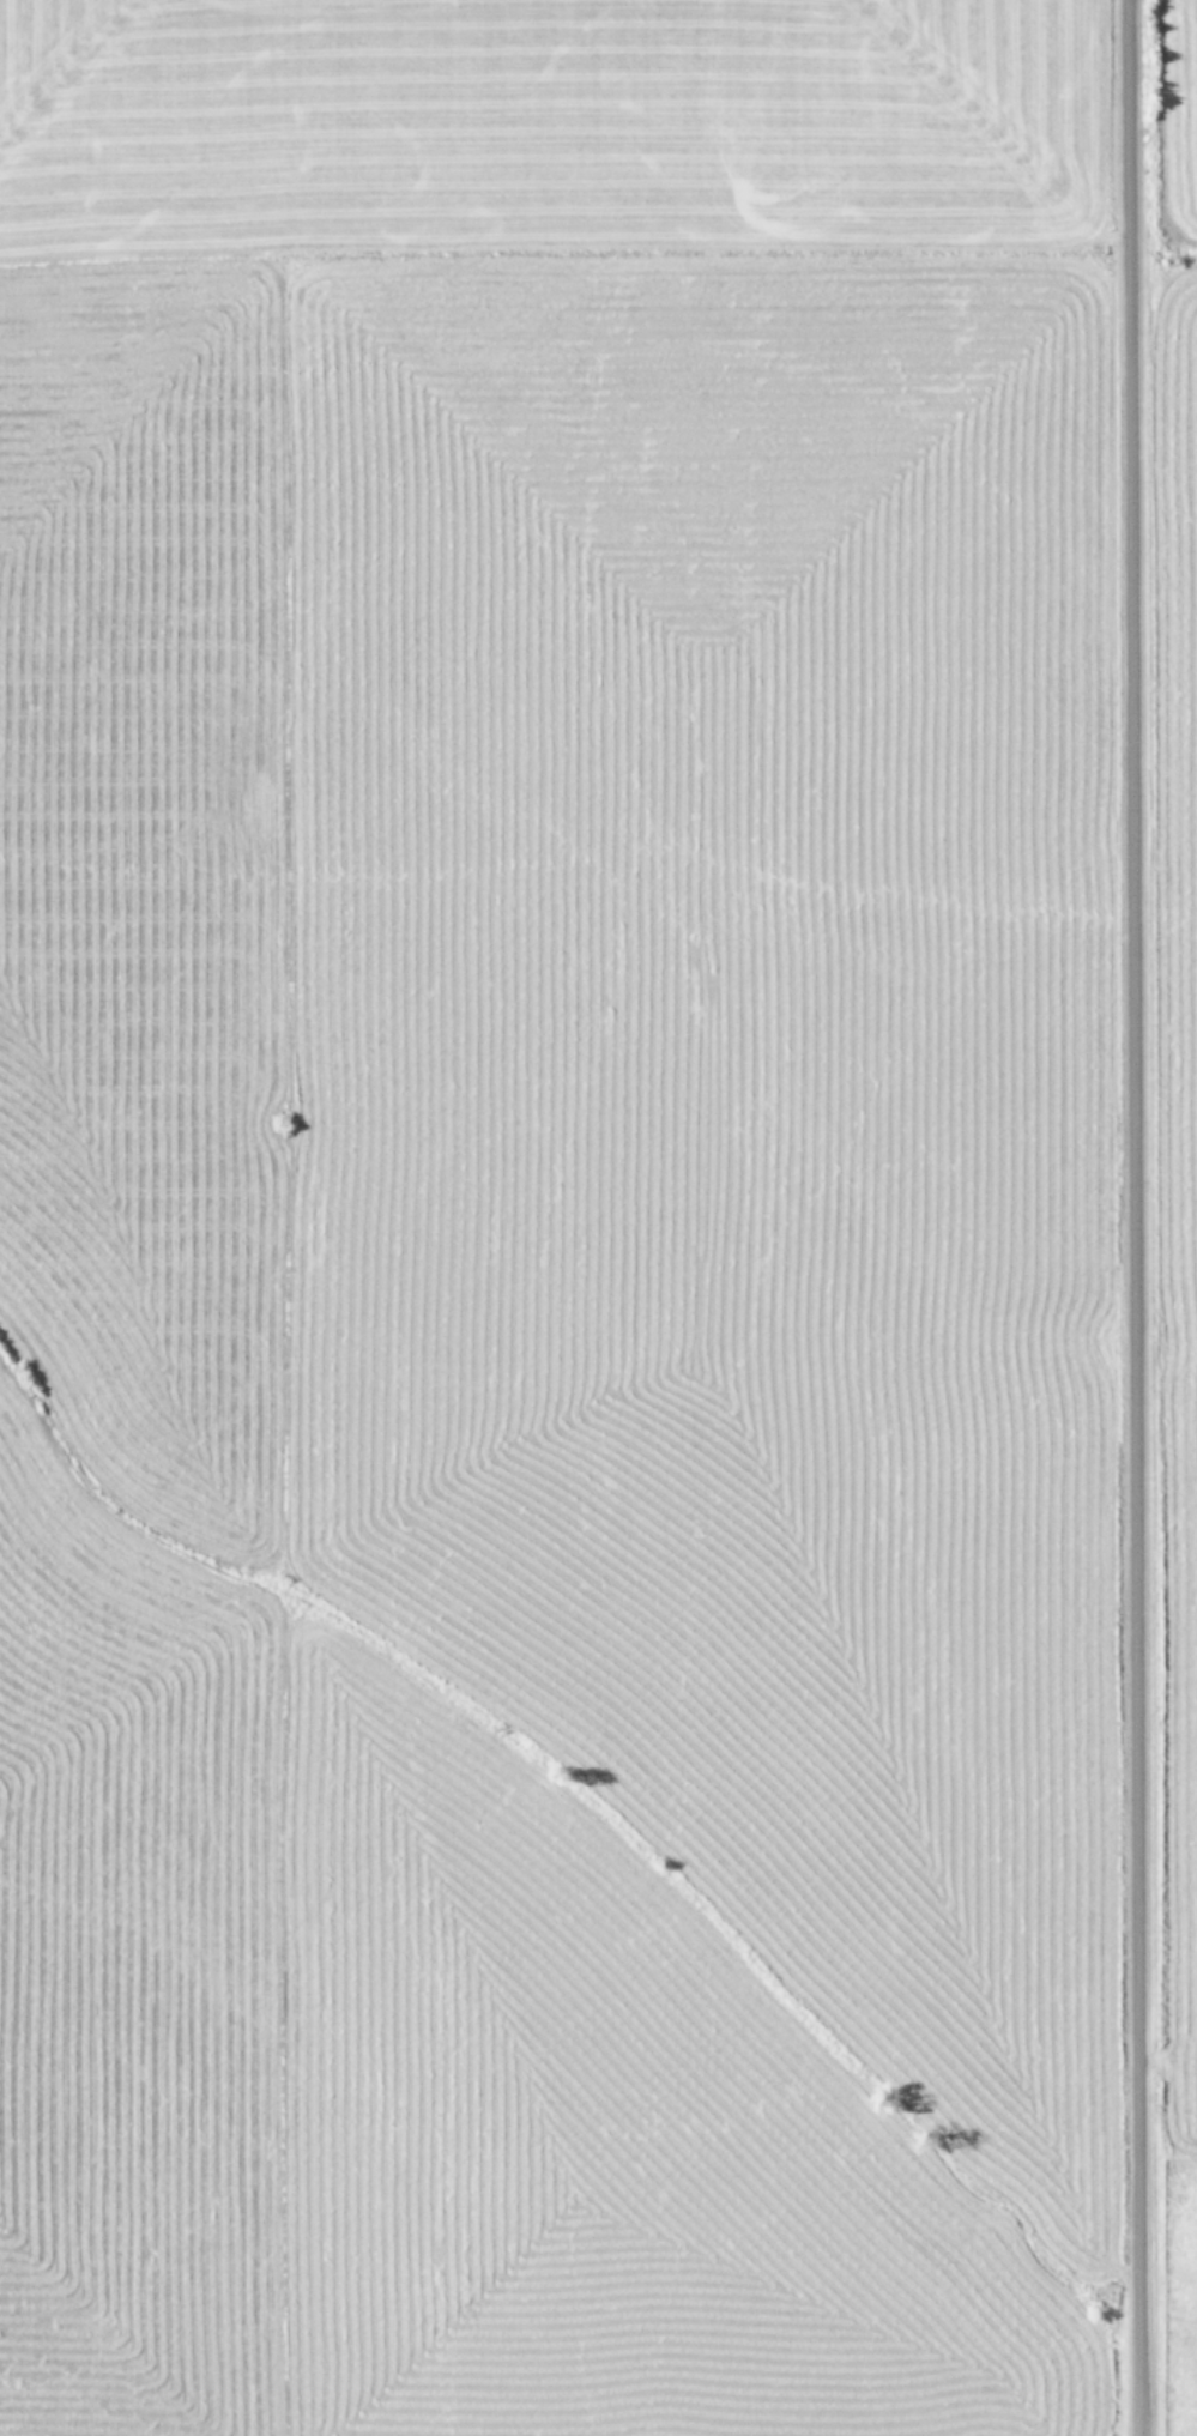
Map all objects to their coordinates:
crop: (598, 1217)
road: (1128, 1217)

